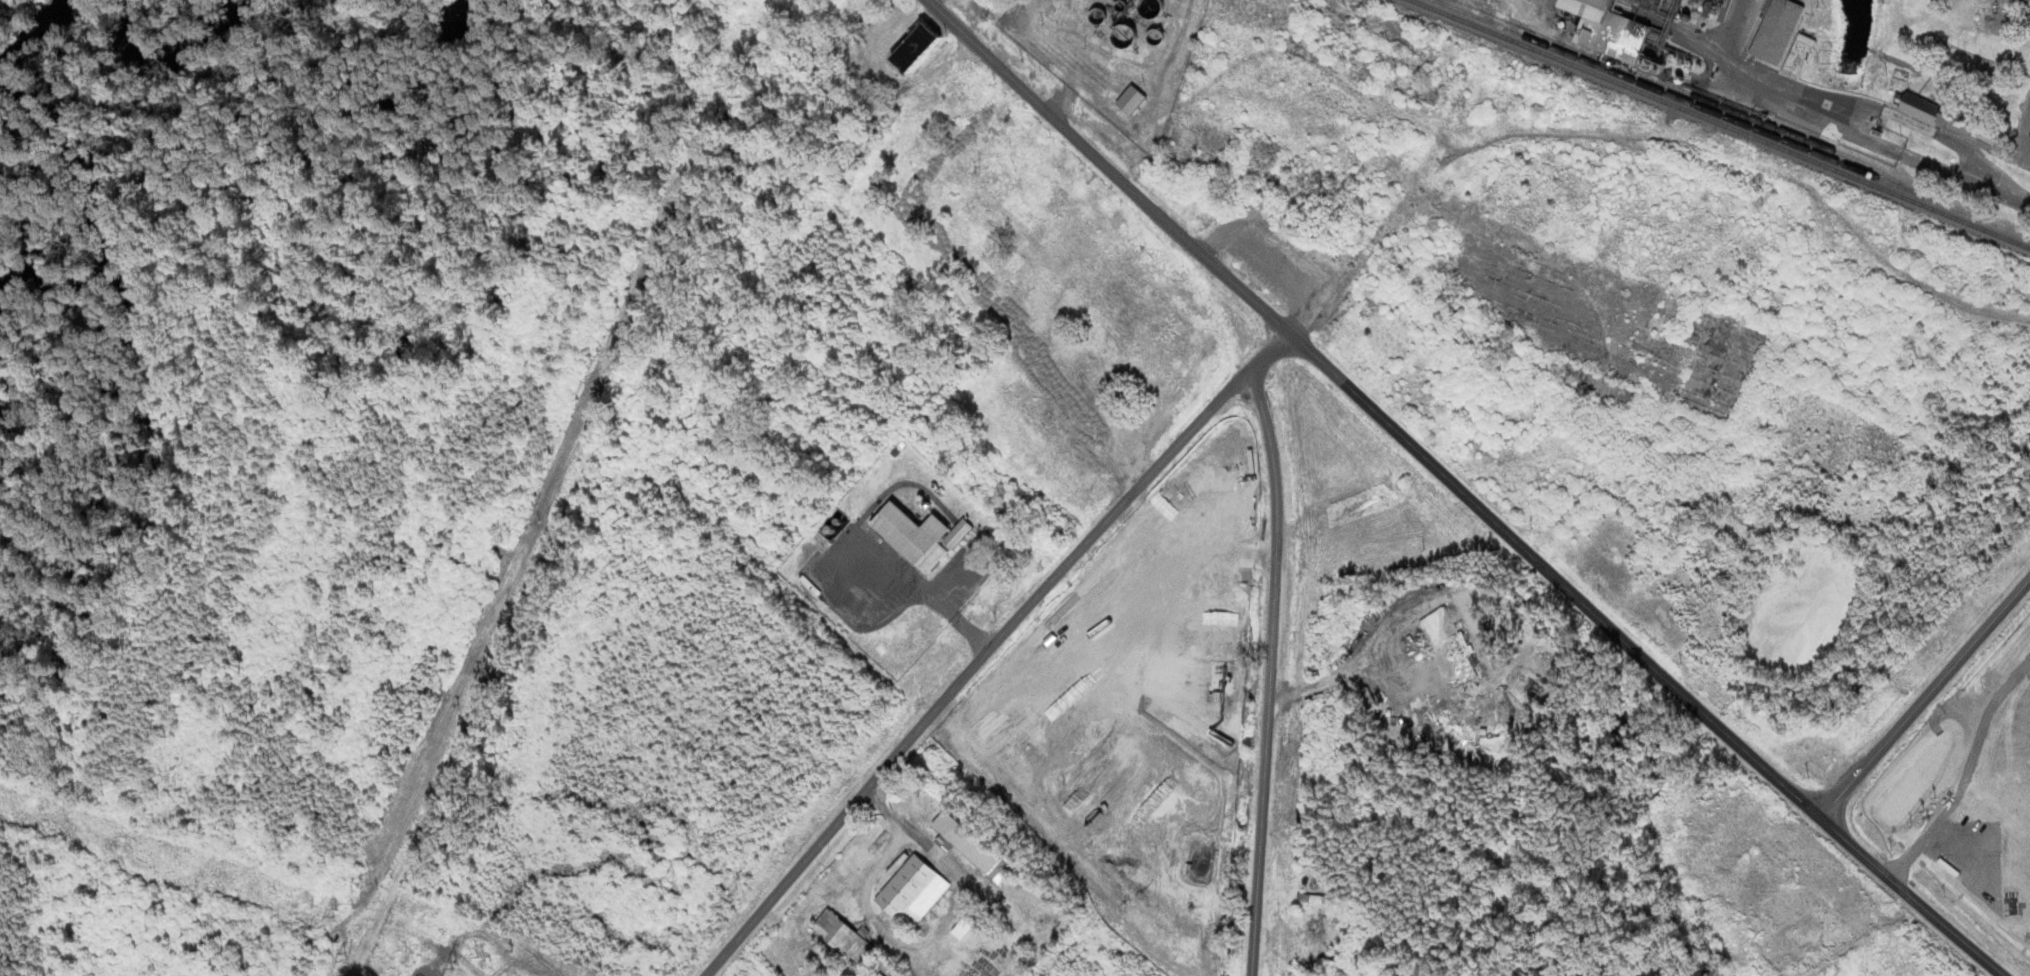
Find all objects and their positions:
building: (1147, 7)
building: (1606, 28)
building: (1775, 30)
building: (1121, 34)
building: (912, 48)
building: (1796, 52)
building: (1128, 99)
building: (1935, 112)
railway: (1722, 123)
road: (1112, 167)
building: (917, 535)
road: (988, 646)
road: (1649, 657)
road: (1269, 669)
road: (1928, 692)
building: (968, 845)
building: (905, 888)
power tower: (333, 909)
building: (842, 937)
power tower: (455, 964)

